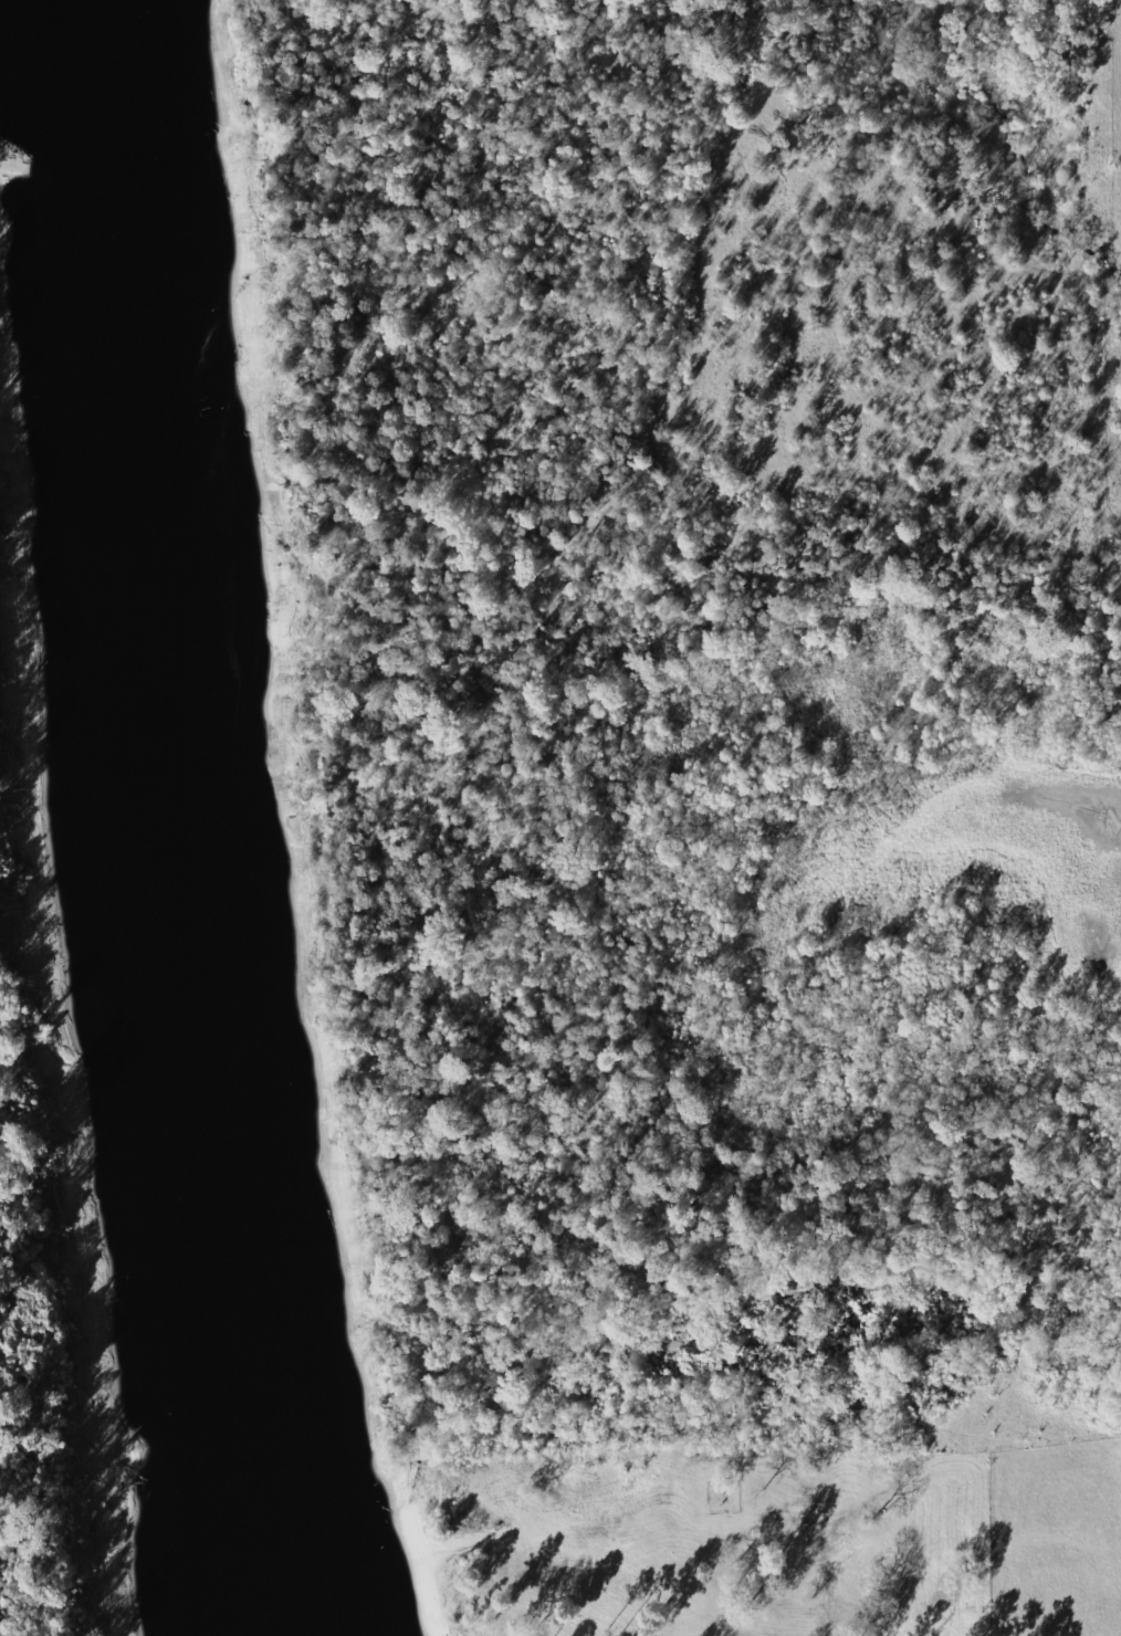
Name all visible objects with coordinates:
river: (186, 818)

